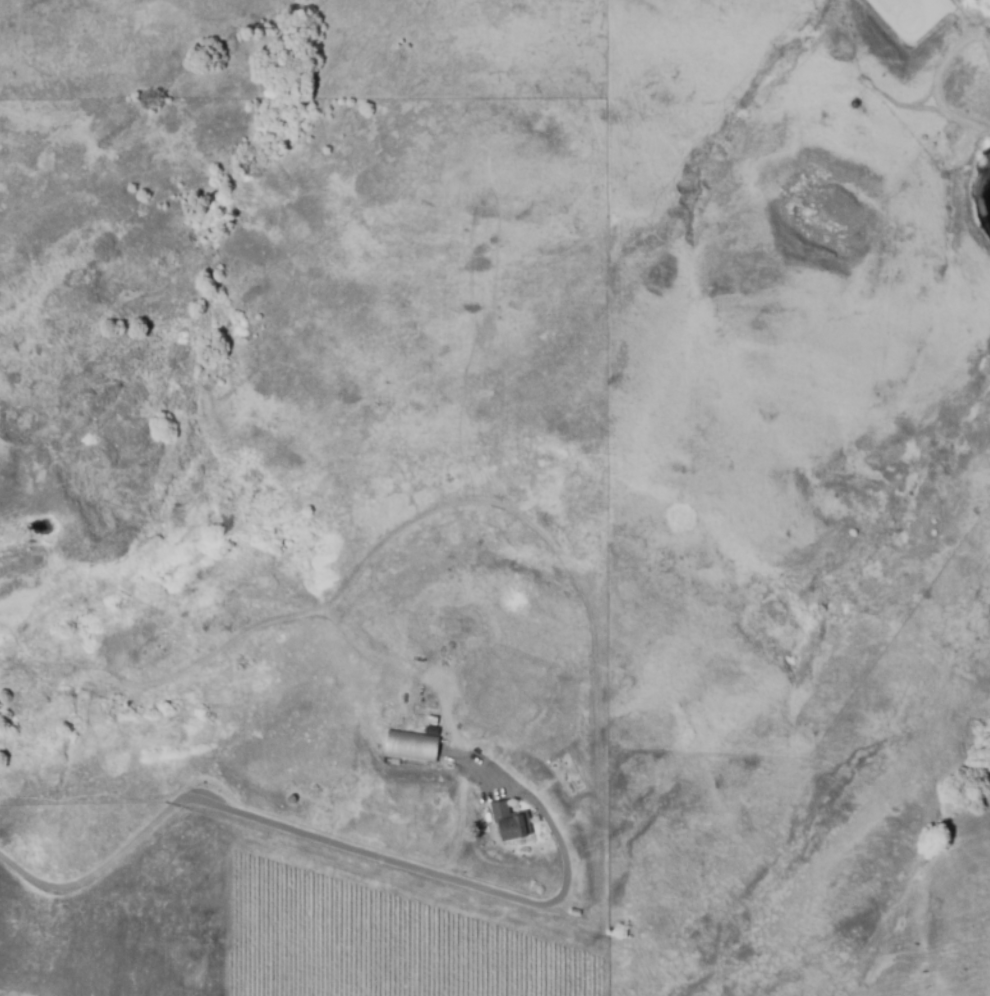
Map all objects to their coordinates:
building: (411, 749)
building: (509, 823)
road: (308, 835)

